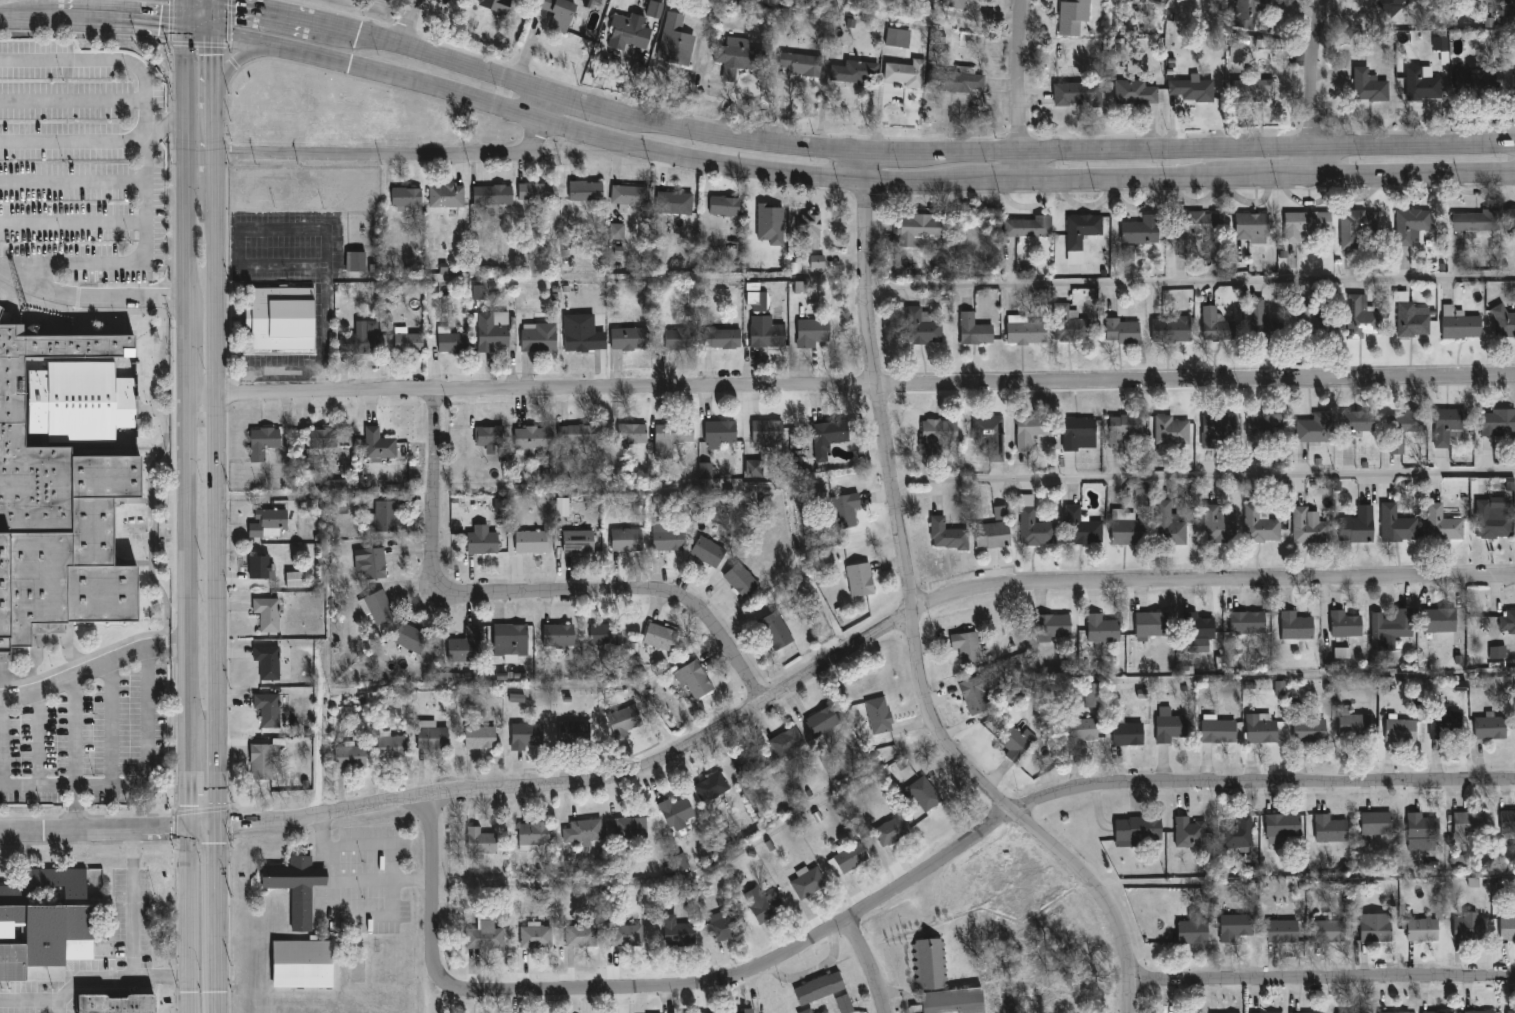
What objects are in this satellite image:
road: (181, 1)
road: (189, 1)
building: (1503, 1)
traffic signals: (189, 2)
building: (956, 3)
road: (203, 4)
building: (497, 5)
building: (1394, 5)
traffic signals: (218, 6)
building: (655, 9)
building: (1248, 12)
building: (560, 13)
building: (1074, 15)
road: (188, 17)
road: (264, 17)
road: (217, 19)
road: (31, 22)
road: (125, 26)
road: (415, 26)
building: (630, 31)
traffic signals: (187, 33)
building: (897, 36)
traffic signals: (218, 38)
building: (676, 38)
building: (1441, 43)
building: (739, 56)
road: (86, 60)
road: (234, 63)
building: (803, 63)
building: (856, 71)
building: (908, 71)
building: (957, 79)
building: (1424, 82)
building: (1370, 83)
building: (1477, 85)
building: (1194, 88)
road: (1317, 88)
building: (1262, 90)
road: (1022, 91)
road: (218, 92)
building: (1079, 92)
building: (1136, 92)
road: (72, 99)
road: (552, 109)
road: (146, 119)
road: (578, 133)
road: (73, 140)
road: (218, 152)
road: (904, 153)
road: (386, 159)
parking lot: (81, 164)
road: (188, 164)
road: (1415, 176)
road: (1275, 179)
road: (73, 182)
road: (1128, 182)
road: (999, 184)
building: (538, 190)
building: (586, 190)
building: (494, 194)
building: (407, 195)
building: (447, 195)
building: (631, 197)
building: (676, 202)
building: (726, 204)
building: (1511, 220)
building: (1479, 221)
road: (73, 222)
building: (1197, 222)
building: (771, 223)
building: (1306, 223)
building: (1253, 224)
building: (1413, 224)
building: (1358, 225)
building: (1030, 227)
building: (811, 228)
building: (920, 228)
building: (1083, 229)
building: (1143, 229)
road: (295, 231)
building: (617, 231)
road: (147, 245)
building: (1128, 253)
building: (1075, 257)
building: (356, 261)
building: (818, 261)
road: (219, 275)
road: (1194, 280)
building: (801, 287)
road: (92, 295)
building: (757, 298)
building: (283, 315)
building: (1413, 316)
building: (1363, 317)
building: (1505, 320)
building: (1265, 322)
building: (1070, 323)
building: (1461, 323)
building: (1218, 324)
building: (1317, 324)
building: (923, 326)
building: (494, 329)
building: (976, 329)
building: (1173, 329)
building: (1026, 330)
building: (1123, 330)
building: (813, 331)
building: (767, 332)
building: (631, 336)
building: (539, 337)
building: (723, 337)
building: (362, 338)
building: (681, 338)
building: (581, 340)
building: (454, 341)
building: (410, 342)
road: (192, 345)
road: (285, 371)
road: (868, 384)
road: (207, 393)
building: (1498, 422)
building: (1267, 424)
building: (1357, 424)
building: (1450, 425)
building: (1217, 426)
building: (1126, 427)
building: (1316, 428)
building: (1404, 429)
building: (769, 430)
building: (1031, 430)
building: (721, 432)
building: (1172, 432)
building: (634, 433)
building: (675, 433)
building: (831, 433)
building: (938, 433)
building: (1081, 433)
building: (577, 434)
building: (992, 435)
building: (490, 436)
building: (535, 438)
building: (331, 439)
building: (264, 441)
building: (380, 443)
building: (312, 466)
building: (755, 468)
building: (706, 470)
road: (1204, 474)
building: (64, 483)
building: (844, 510)
building: (1001, 512)
building: (387, 516)
building: (1494, 520)
building: (269, 522)
building: (1221, 523)
building: (1446, 523)
building: (1036, 524)
building: (1262, 524)
building: (1398, 524)
building: (1171, 525)
building: (1310, 526)
building: (1082, 527)
building: (1129, 527)
building: (1358, 529)
building: (949, 534)
building: (994, 534)
building: (628, 539)
building: (669, 539)
building: (532, 541)
building: (580, 541)
building: (484, 542)
building: (709, 551)
building: (371, 561)
building: (262, 566)
building: (296, 579)
building: (741, 579)
building: (861, 579)
road: (527, 596)
building: (381, 607)
road: (220, 609)
building: (268, 613)
road: (917, 618)
building: (1442, 620)
building: (1509, 620)
building: (1153, 623)
building: (1248, 623)
building: (1347, 624)
building: (1054, 625)
building: (1199, 626)
building: (1297, 627)
building: (1104, 628)
building: (1392, 628)
building: (777, 631)
building: (512, 635)
building: (561, 635)
building: (607, 635)
building: (661, 636)
building: (412, 638)
road: (181, 643)
building: (468, 646)
building: (967, 646)
road: (857, 650)
building: (1342, 652)
building: (1498, 652)
building: (268, 661)
road: (85, 669)
building: (696, 679)
building: (1280, 688)
building: (976, 694)
building: (1094, 695)
building: (517, 698)
road: (190, 703)
building: (269, 709)
building: (879, 715)
building: (626, 719)
building: (823, 720)
building: (1445, 720)
road: (110, 721)
building: (1355, 724)
building: (1170, 725)
building: (1492, 726)
road: (75, 729)
building: (1081, 729)
building: (1262, 729)
building: (1402, 729)
building: (1311, 730)
building: (1220, 731)
building: (1127, 732)
building: (577, 733)
building: (434, 734)
building: (529, 735)
building: (482, 737)
road: (36, 738)
road: (1, 741)
building: (788, 742)
building: (1017, 742)
building: (392, 747)
road: (320, 751)
building: (352, 756)
building: (264, 762)
building: (751, 763)
road: (139, 783)
building: (712, 787)
building: (925, 793)
building: (677, 813)
building: (1509, 821)
building: (1378, 824)
building: (1471, 824)
traffic signals: (190, 825)
traffic signals: (219, 825)
building: (1283, 825)
building: (1424, 826)
road: (109, 827)
building: (1330, 828)
building: (632, 829)
building: (1138, 830)
building: (587, 831)
building: (892, 831)
building: (1238, 832)
building: (536, 833)
building: (1190, 833)
road: (133, 841)
building: (482, 841)
road: (376, 843)
road: (950, 853)
building: (849, 859)
building: (682, 861)
road: (435, 869)
road: (365, 879)
building: (59, 881)
building: (809, 883)
building: (296, 886)
road: (220, 907)
building: (768, 908)
road: (134, 916)
road: (350, 916)
building: (722, 926)
building: (1235, 926)
building: (1376, 927)
building: (1470, 927)
building: (1507, 928)
building: (1193, 929)
building: (1423, 929)
building: (1331, 930)
building: (1283, 931)
building: (41, 932)
building: (679, 932)
building: (490, 934)
building: (627, 935)
building: (583, 936)
building: (537, 937)
building: (303, 962)
road: (869, 963)
road: (163, 975)
road: (1323, 981)
building: (943, 982)
building: (820, 988)
road: (67, 991)
road: (222, 1001)
building: (115, 1003)
building: (845, 1004)
building: (740, 1011)
building: (807, 1011)
building: (1298, 1012)
building: (1353, 1012)
building: (1397, 1012)
building: (1438, 1012)

